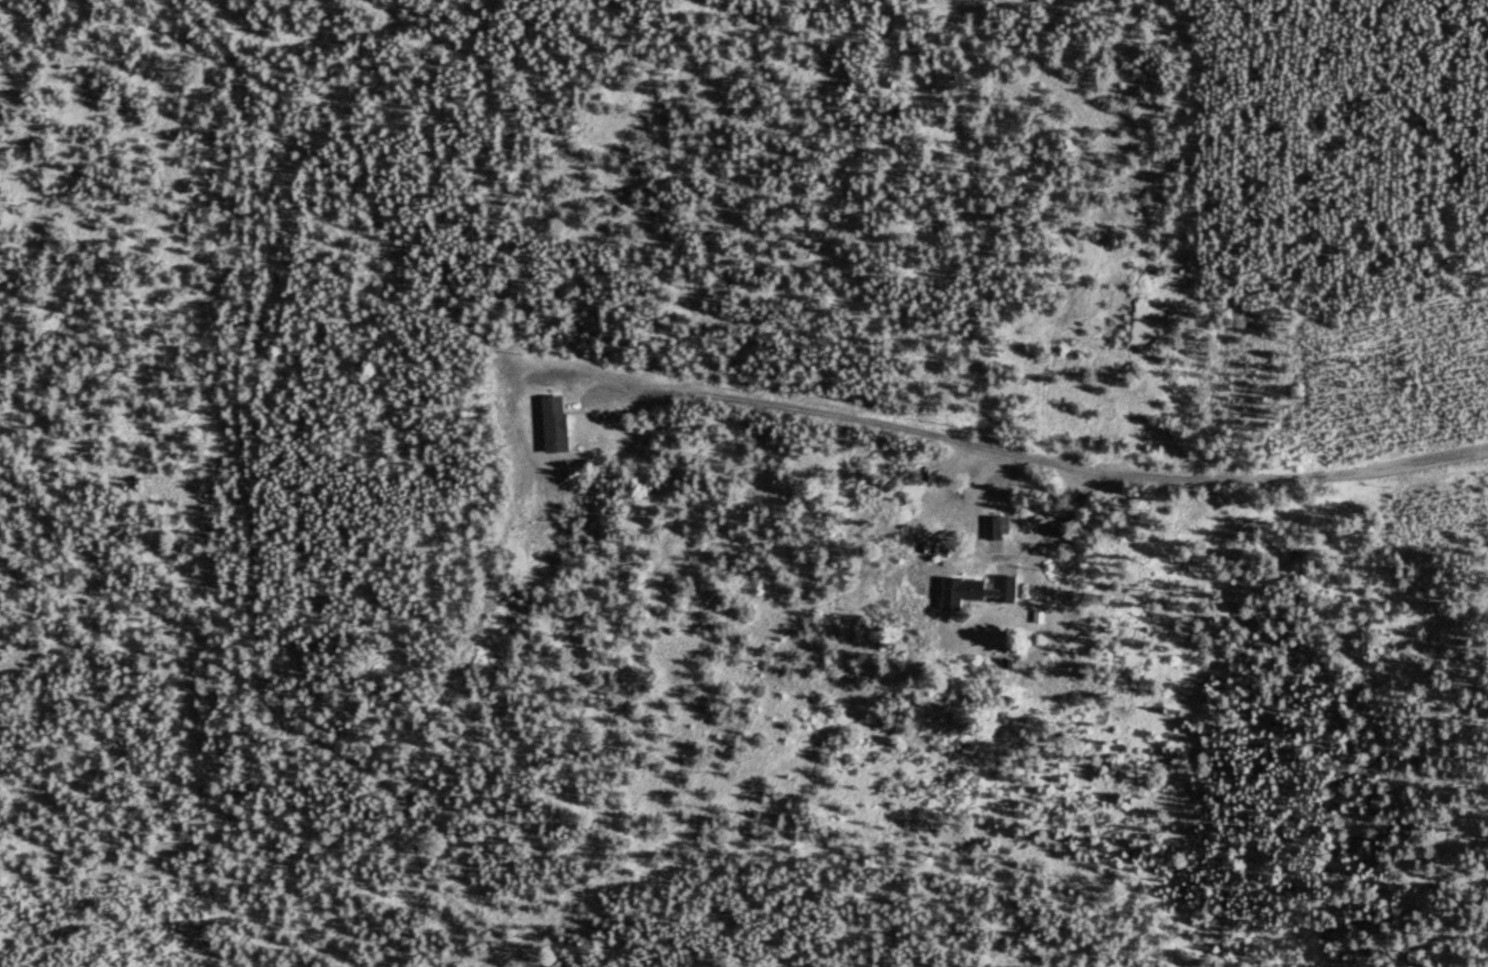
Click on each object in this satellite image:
road: (781, 378)
building: (548, 425)
building: (992, 534)
building: (973, 592)
road: (515, 669)

